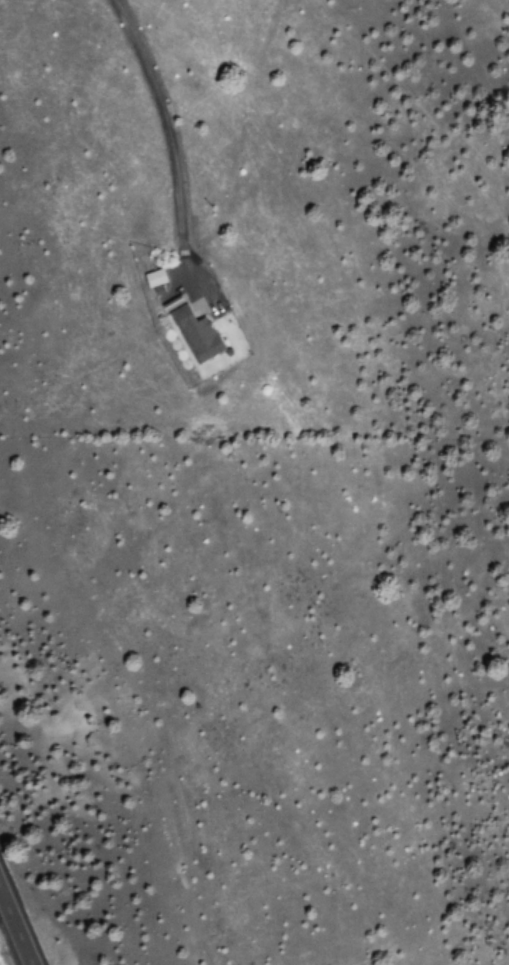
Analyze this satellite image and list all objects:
building: (156, 278)
road: (15, 927)

